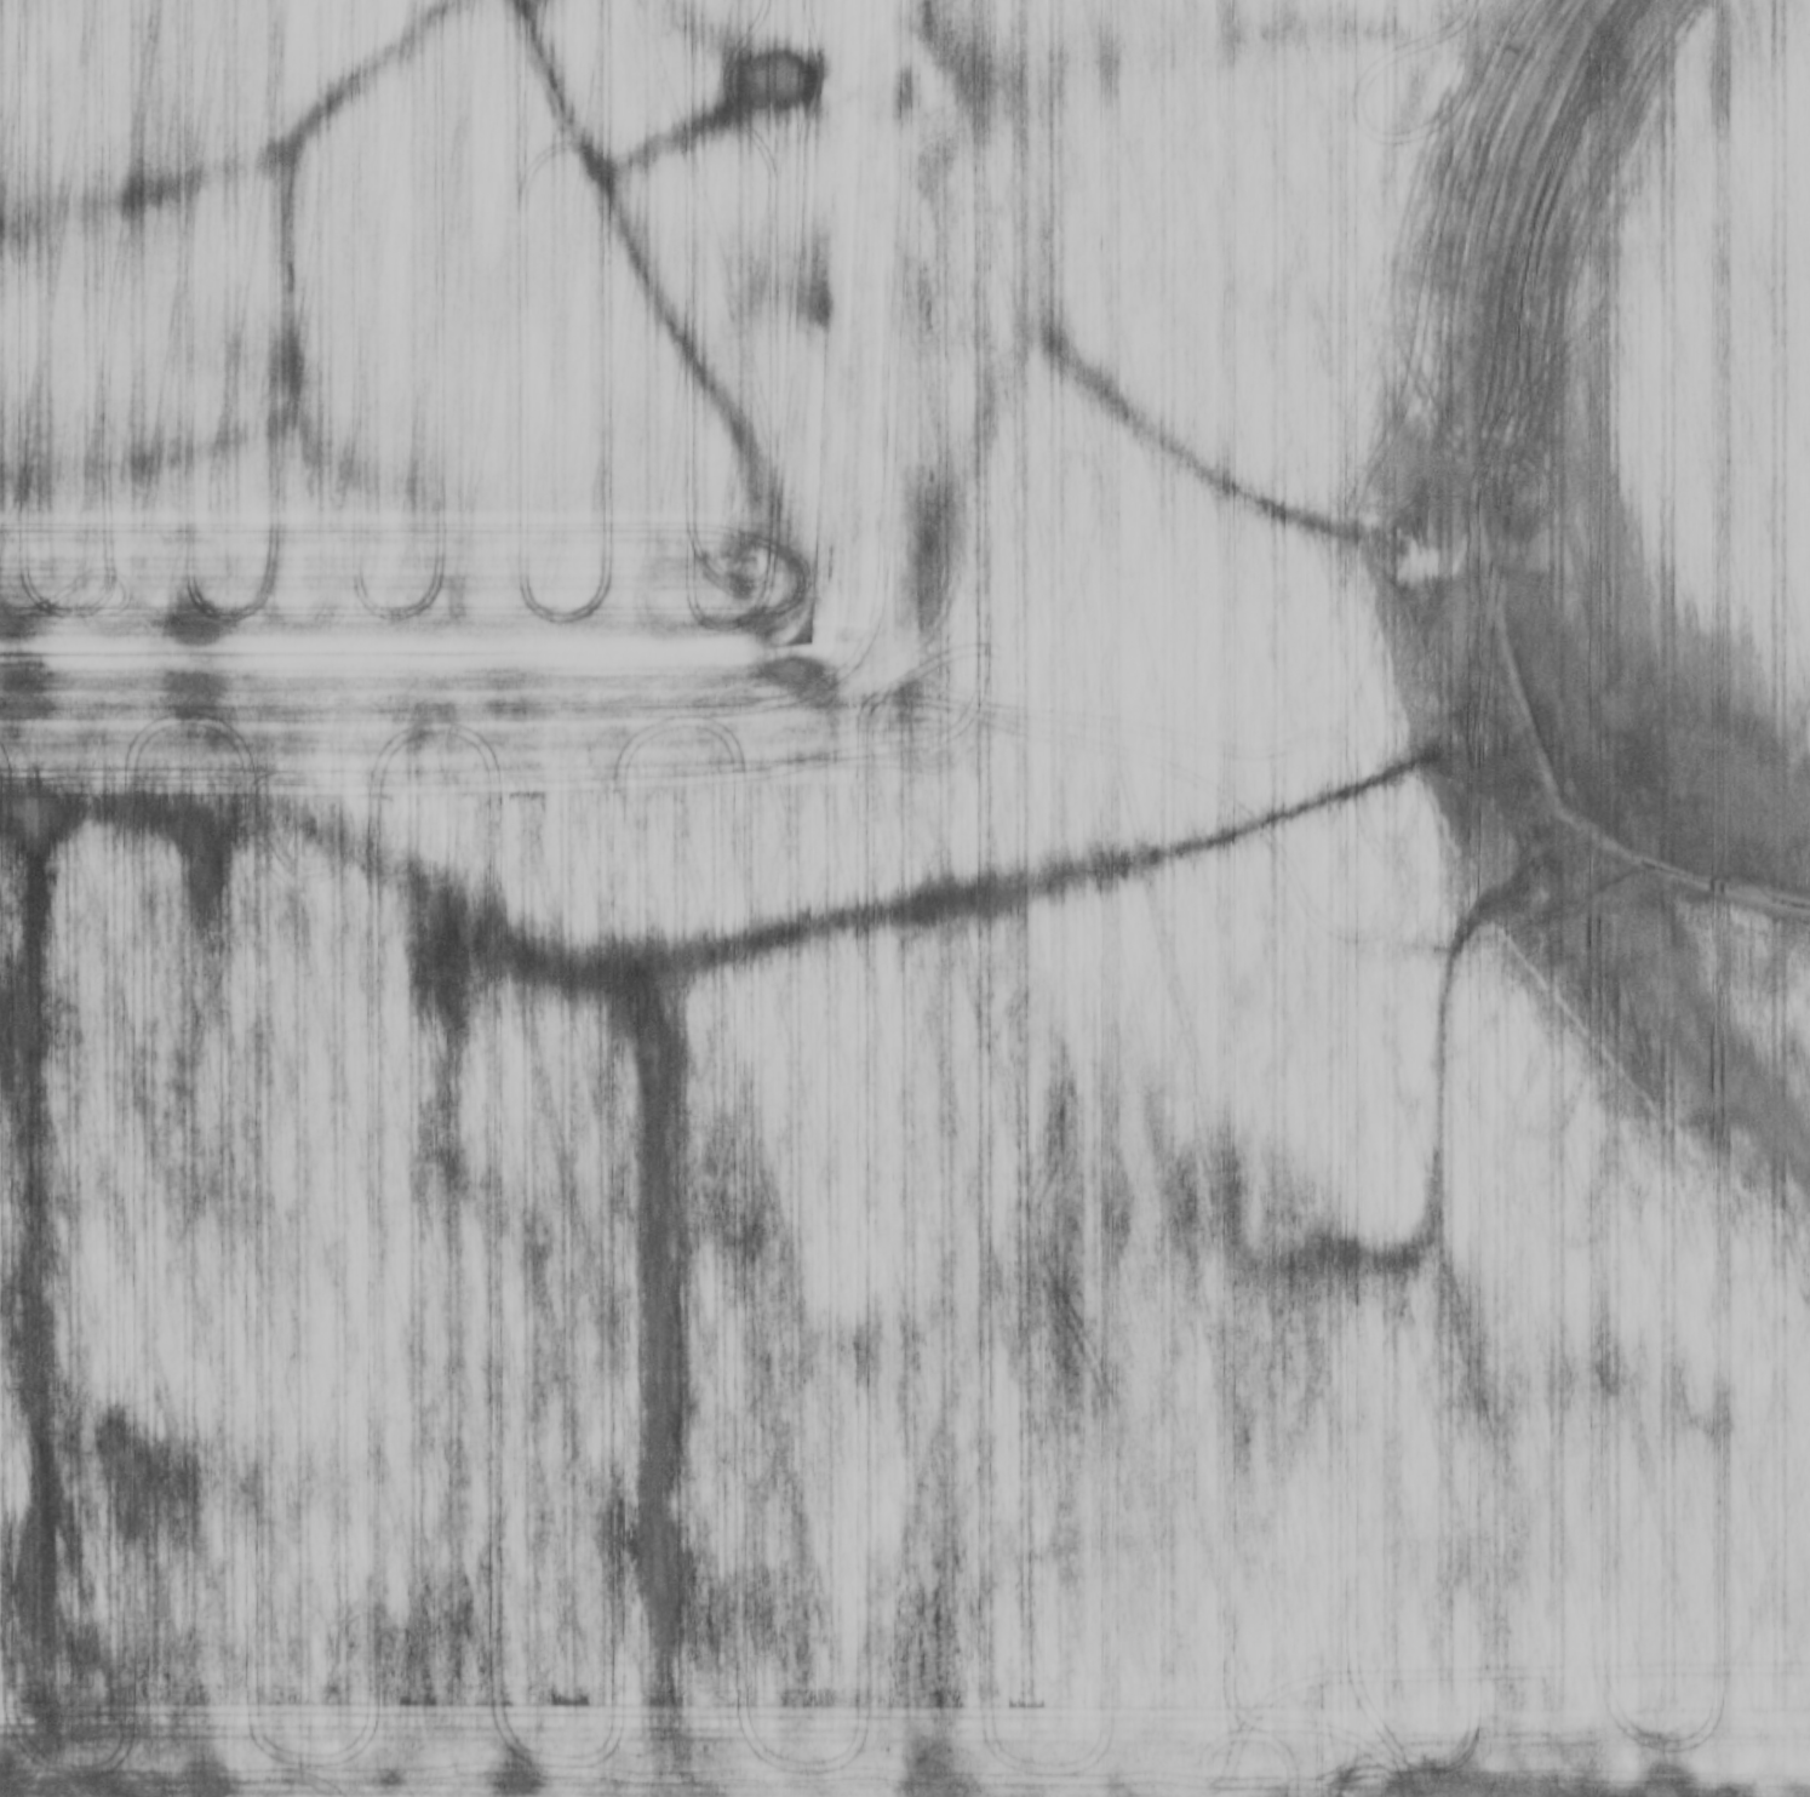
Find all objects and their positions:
road: (746, 647)

